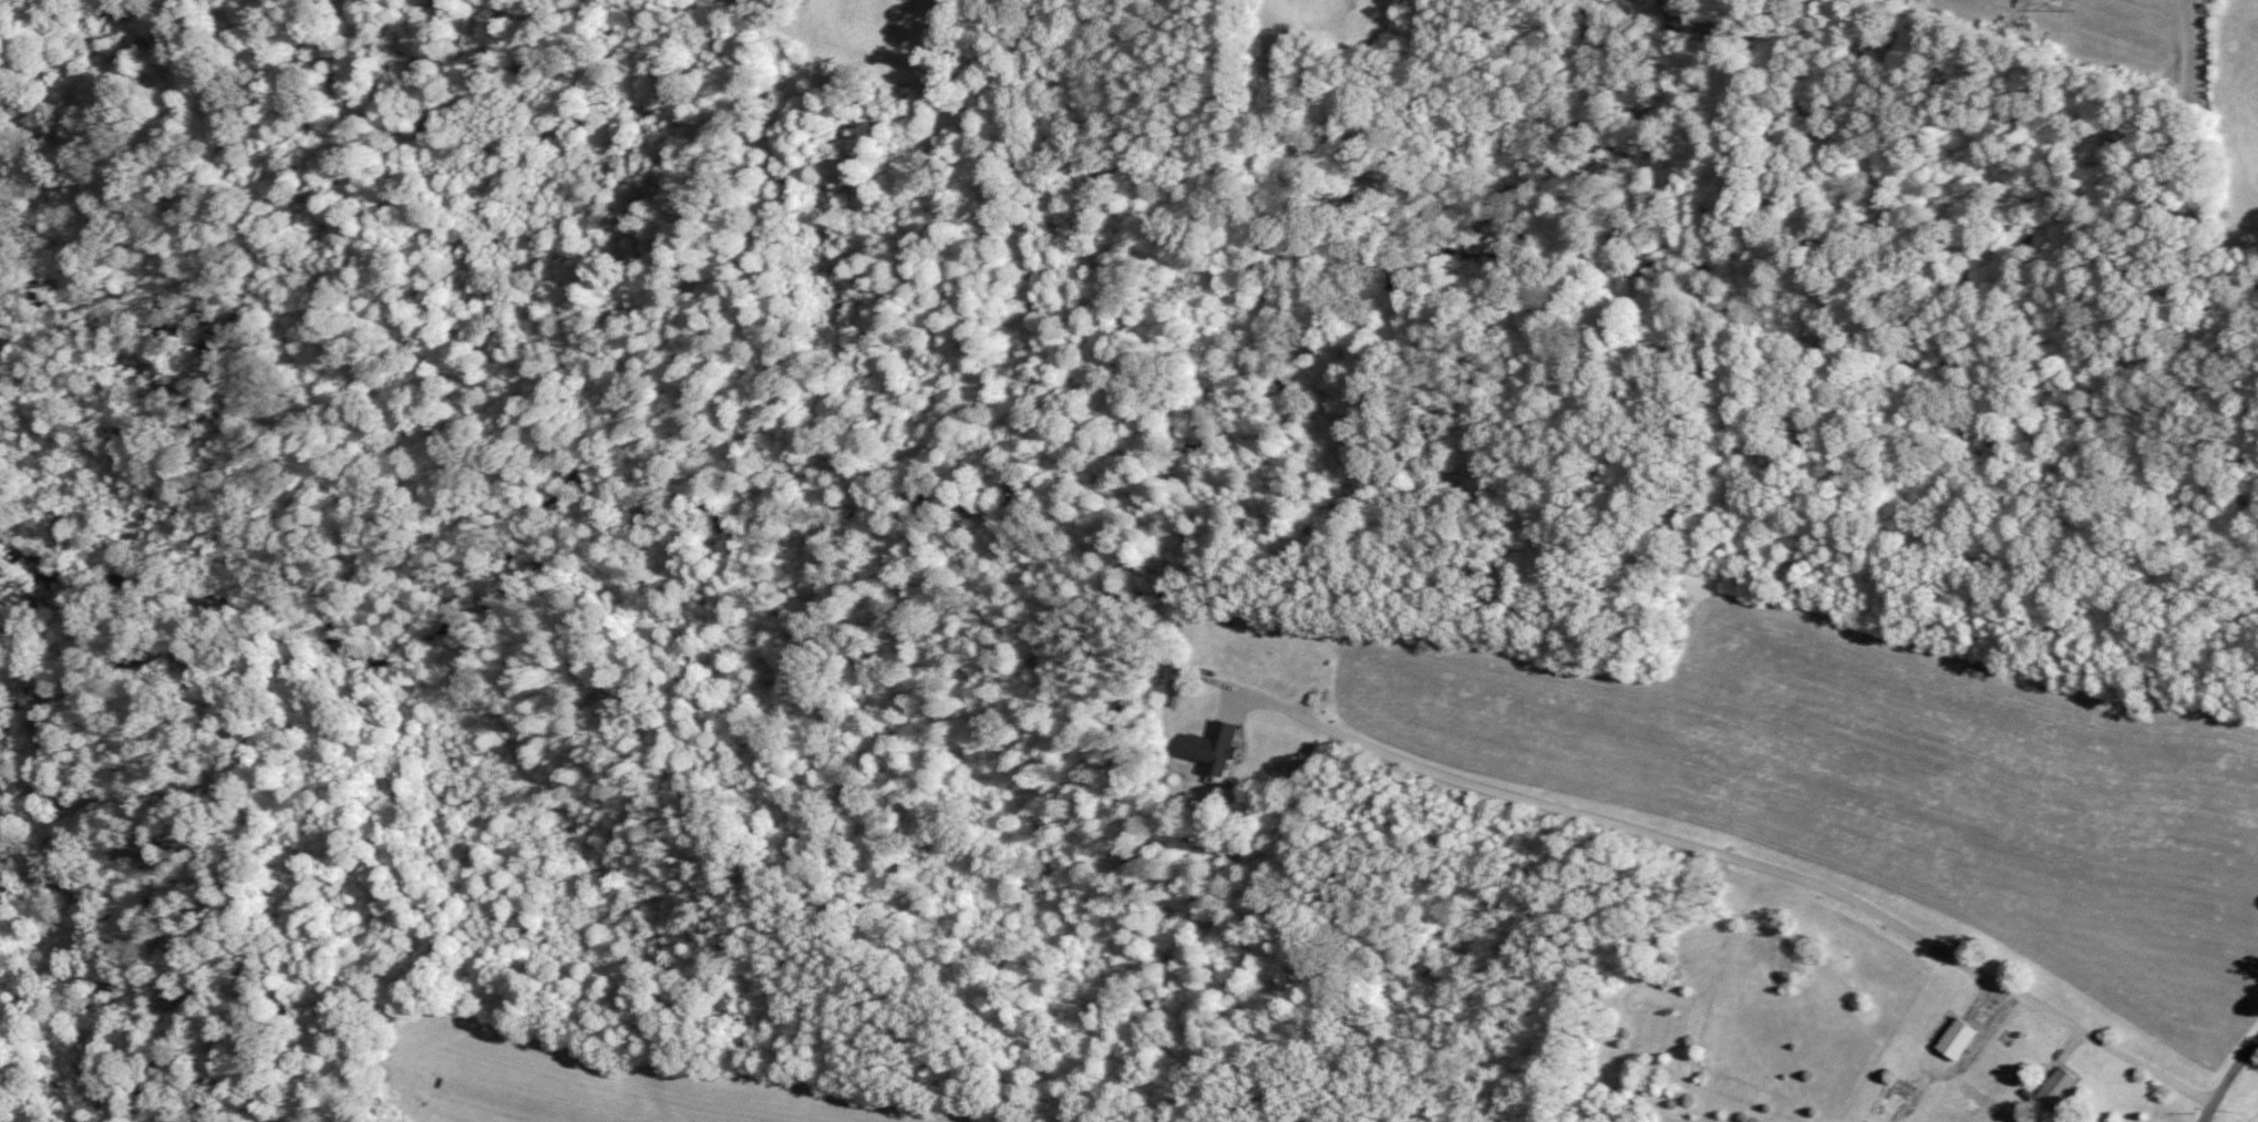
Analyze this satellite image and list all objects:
power tower: (2075, 0)
road: (2174, 163)
building: (1214, 744)
road: (1752, 864)
building: (1957, 1037)
road: (2227, 1080)
building: (2056, 1085)

